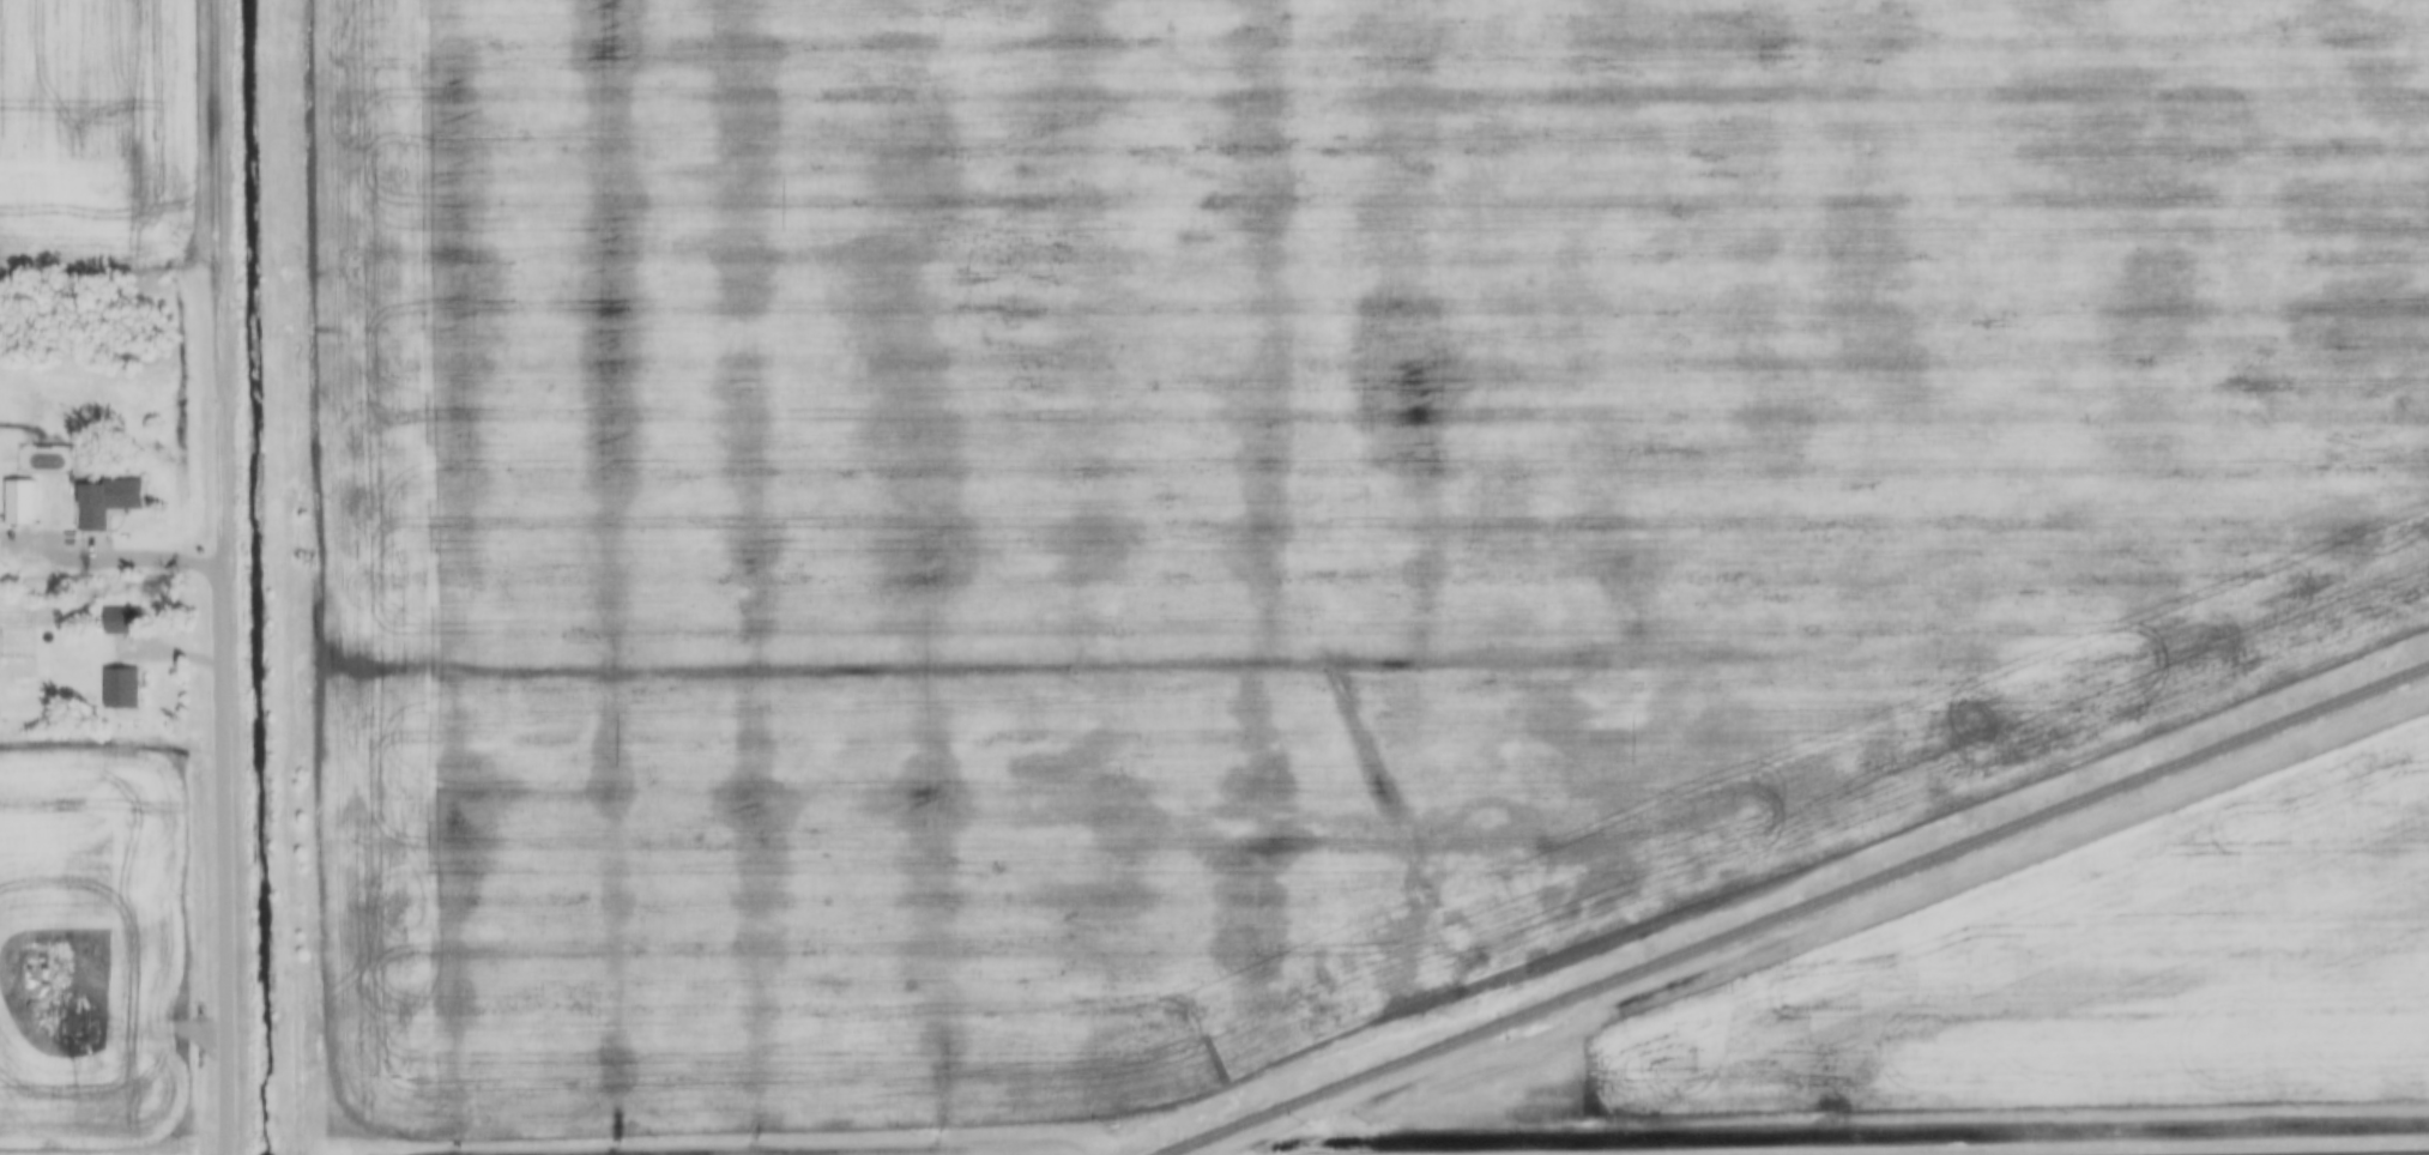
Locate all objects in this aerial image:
road: (218, 280)
building: (111, 502)
building: (23, 503)
road: (126, 555)
building: (125, 689)
road: (223, 858)
railway: (1794, 911)

